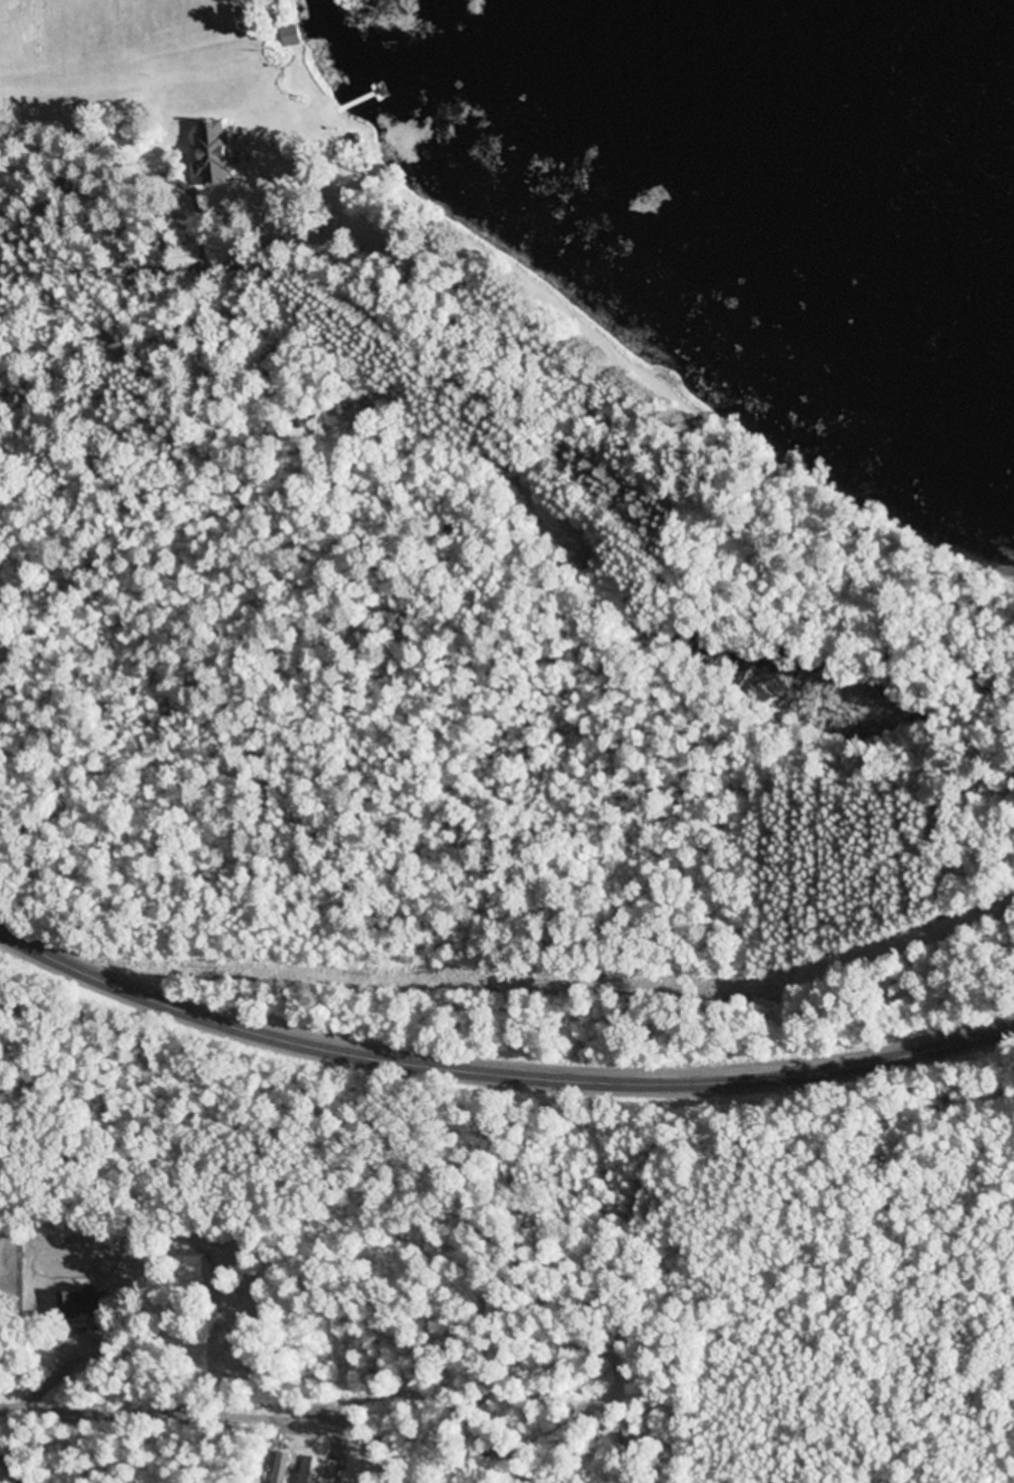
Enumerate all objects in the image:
river: (482, 10)
building: (293, 34)
building: (217, 151)
road: (497, 1066)
building: (87, 1303)
road: (37, 1372)

